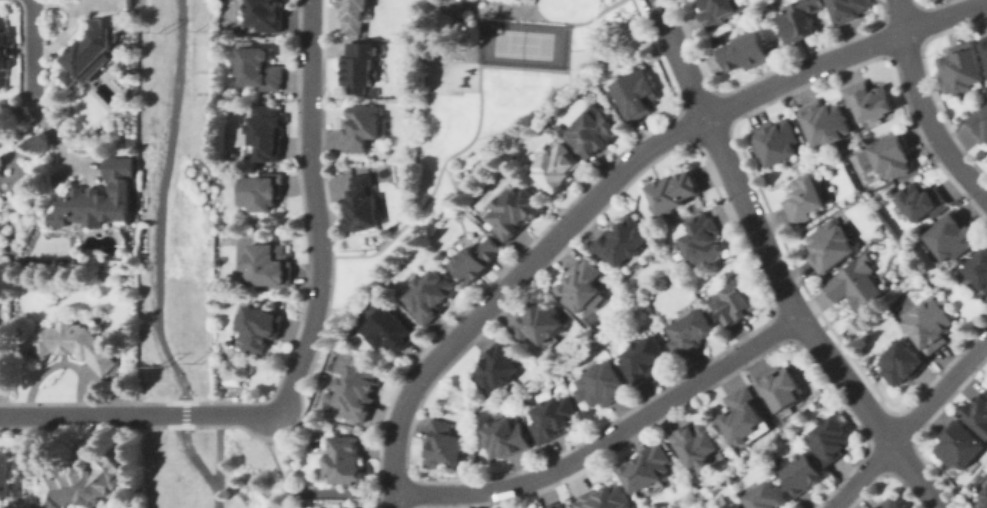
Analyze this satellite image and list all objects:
building: (848, 9)
building: (723, 11)
building: (266, 14)
building: (354, 15)
building: (799, 20)
park: (521, 42)
building: (984, 44)
building: (4, 48)
building: (94, 48)
road: (34, 49)
building: (747, 52)
road: (844, 52)
building: (364, 63)
building: (961, 67)
building: (259, 69)
building: (372, 90)
building: (263, 94)
building: (636, 94)
building: (878, 100)
park: (482, 102)
road: (924, 108)
road: (479, 109)
building: (979, 120)
building: (831, 124)
building: (365, 128)
building: (594, 129)
building: (266, 134)
building: (130, 142)
building: (777, 143)
building: (387, 151)
building: (896, 156)
building: (555, 167)
building: (674, 190)
building: (259, 192)
park: (177, 195)
building: (102, 196)
building: (805, 200)
building: (925, 200)
building: (364, 202)
road: (316, 210)
building: (520, 211)
building: (951, 237)
building: (703, 239)
building: (626, 240)
building: (831, 246)
road: (159, 248)
building: (479, 257)
building: (270, 266)
road: (775, 267)
building: (978, 270)
building: (585, 282)
building: (857, 284)
road: (508, 285)
building: (430, 295)
building: (737, 302)
building: (930, 321)
building: (540, 323)
building: (392, 329)
building: (692, 332)
building: (261, 333)
building: (74, 345)
building: (647, 358)
building: (903, 364)
building: (498, 367)
building: (601, 386)
building: (784, 387)
building: (360, 392)
building: (976, 412)
building: (748, 413)
road: (137, 414)
building: (554, 417)
road: (909, 423)
building: (506, 438)
building: (833, 438)
road: (607, 439)
building: (700, 442)
building: (960, 445)
building: (445, 446)
road: (217, 448)
building: (345, 459)
building: (648, 467)
park: (211, 468)
building: (803, 475)
building: (5, 476)
building: (83, 482)
road: (299, 490)
building: (983, 493)
road: (216, 495)
building: (768, 496)
building: (609, 497)
building: (983, 501)
building: (890, 503)
building: (558, 504)
building: (738, 506)

